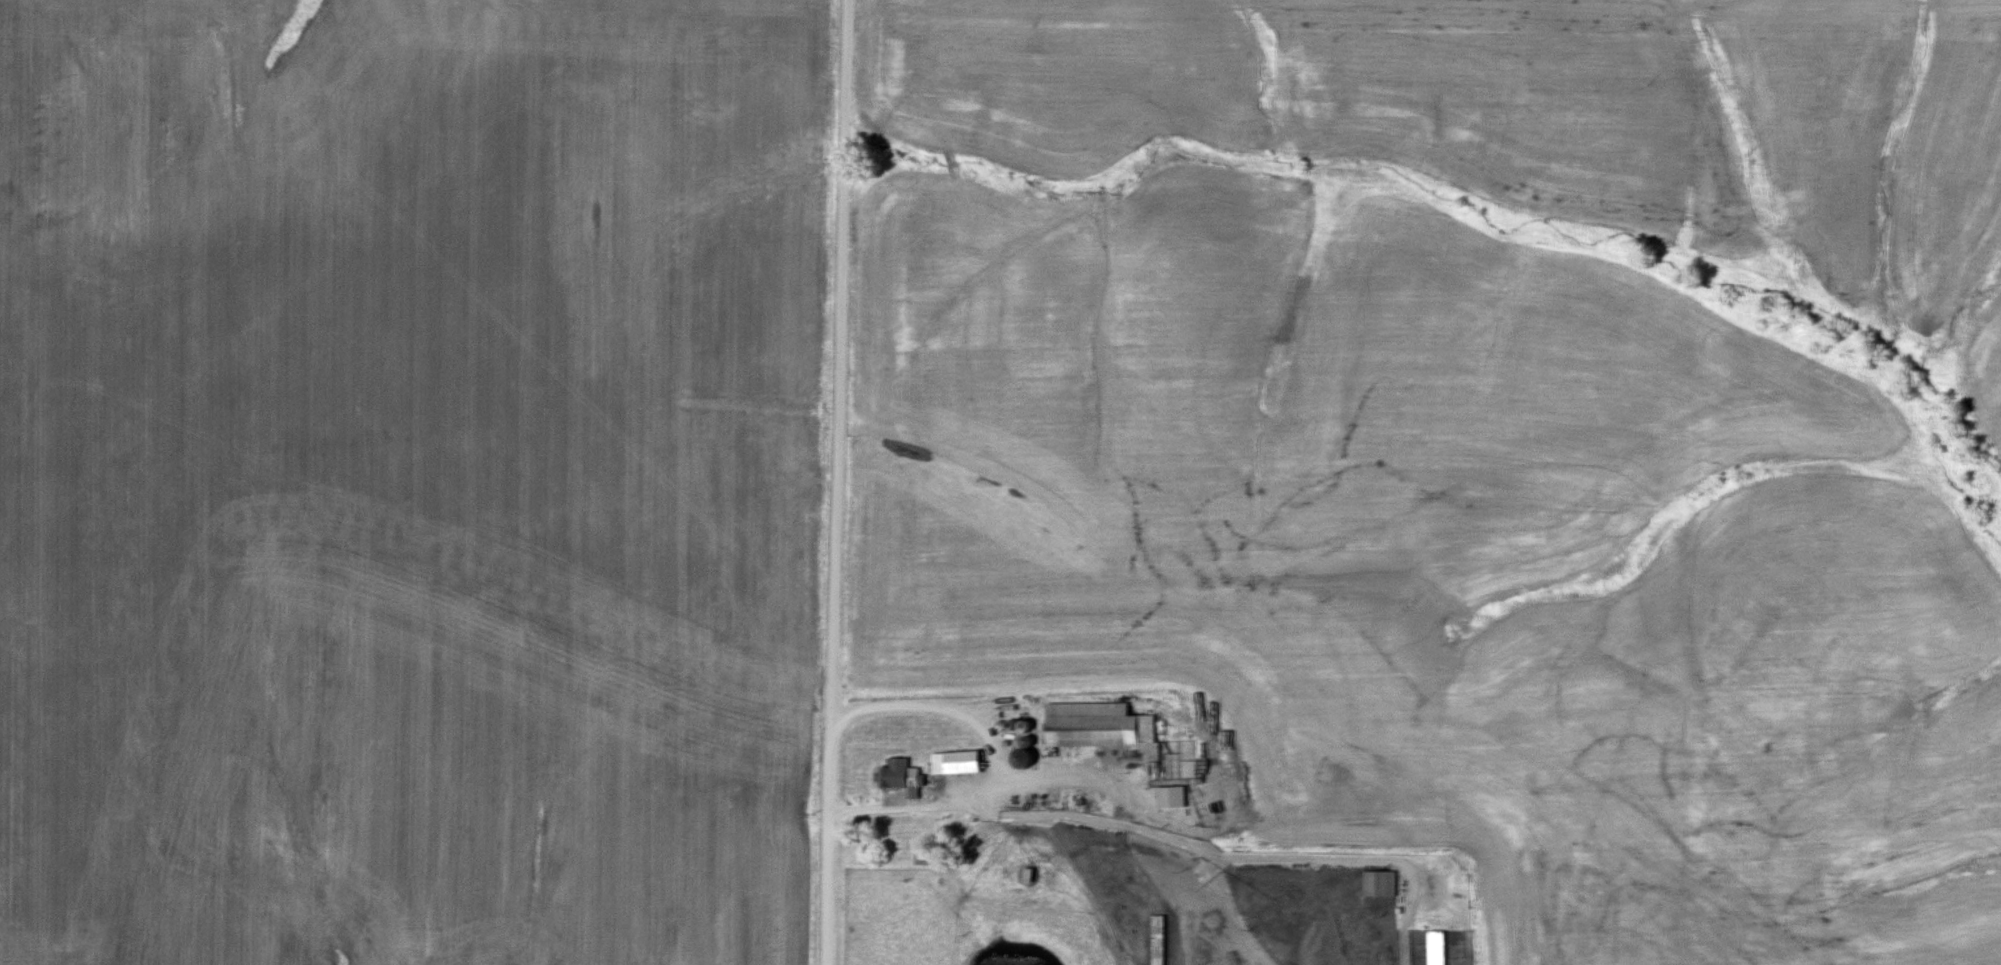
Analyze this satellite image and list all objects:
road: (826, 482)
building: (1100, 725)
building: (958, 762)
building: (901, 774)
building: (1382, 883)
building: (1160, 939)

